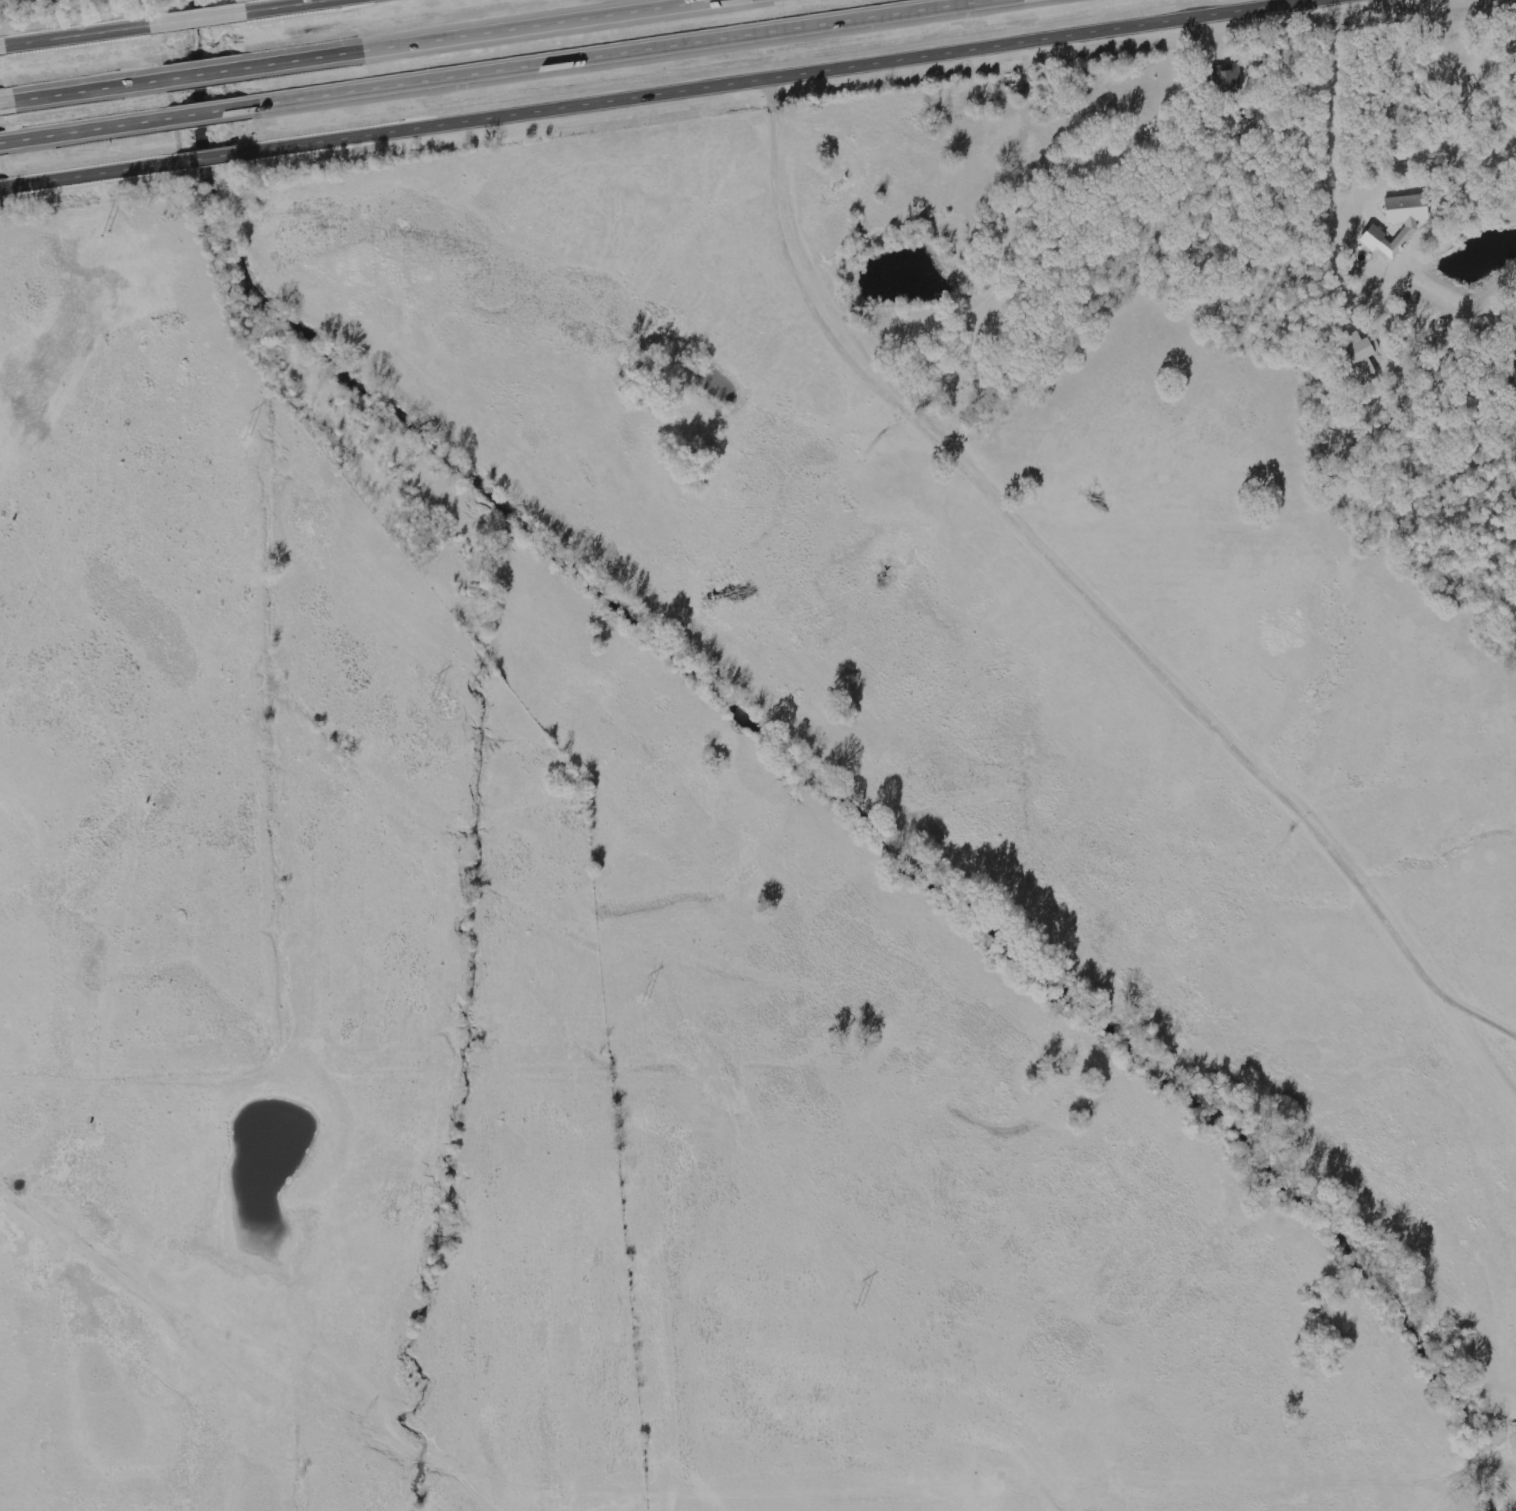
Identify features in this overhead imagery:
road: (275, 5)
road: (197, 16)
road: (438, 32)
road: (79, 33)
road: (1, 44)
road: (605, 52)
road: (767, 72)
road: (205, 73)
building: (1228, 78)
road: (86, 89)
road: (3, 100)
road: (207, 111)
road: (85, 128)
road: (1350, 136)
road: (2, 140)
road: (215, 154)
road: (94, 172)
road: (5, 185)
building: (1412, 226)
building: (1364, 354)
road: (1115, 582)
road: (43, 1222)

